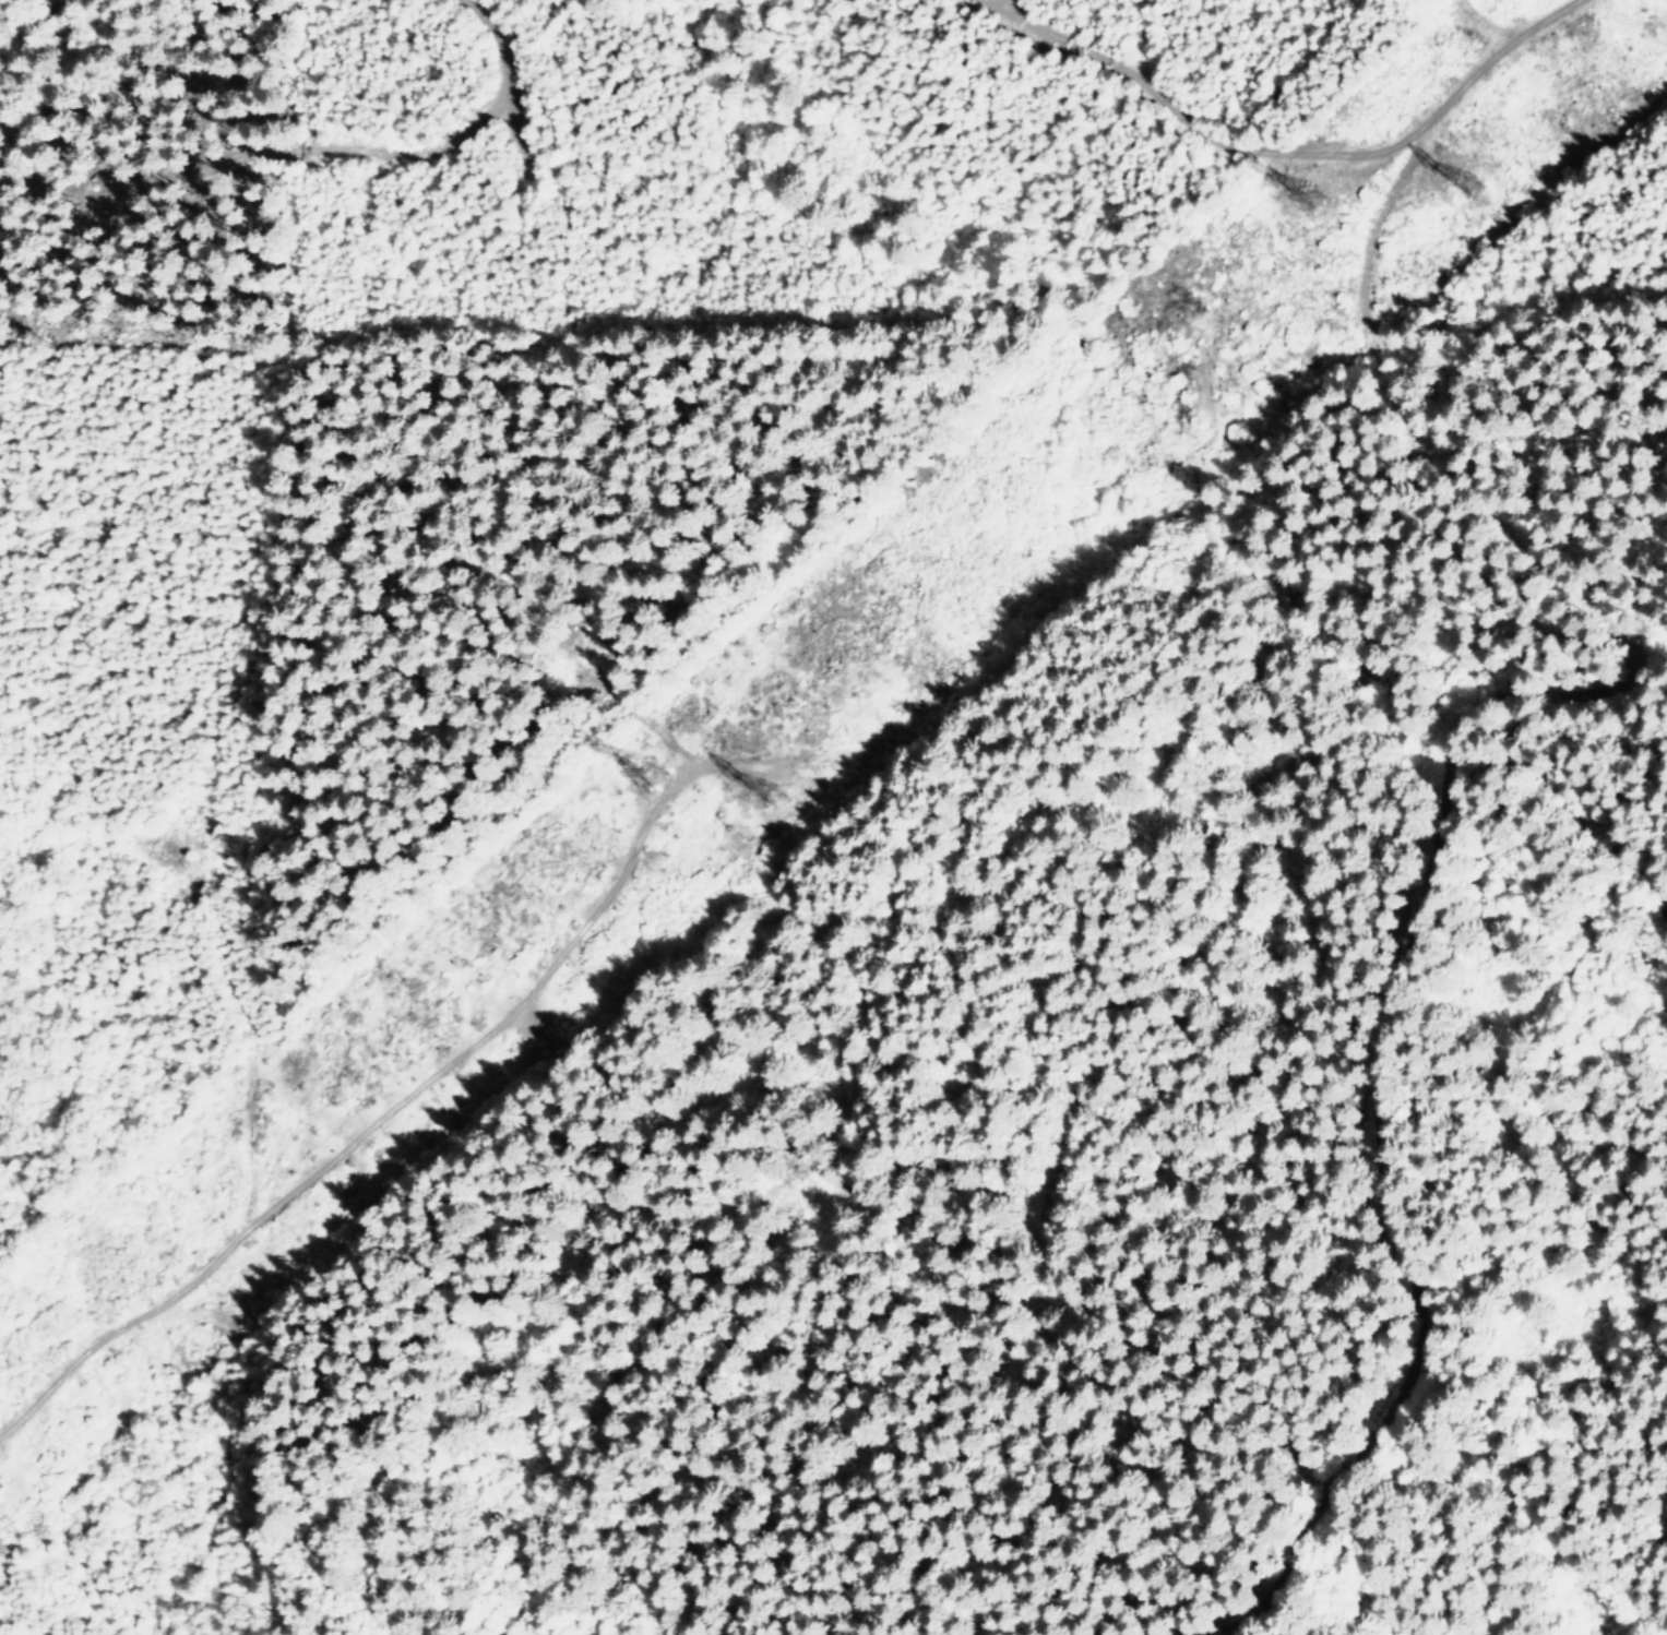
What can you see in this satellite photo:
road: (1195, 130)
power tower: (1484, 189)
power tower: (1325, 196)
road: (1384, 356)
power tower: (659, 776)
power tower: (783, 797)
road: (393, 1126)
road: (930, 1226)
road: (1404, 1242)

